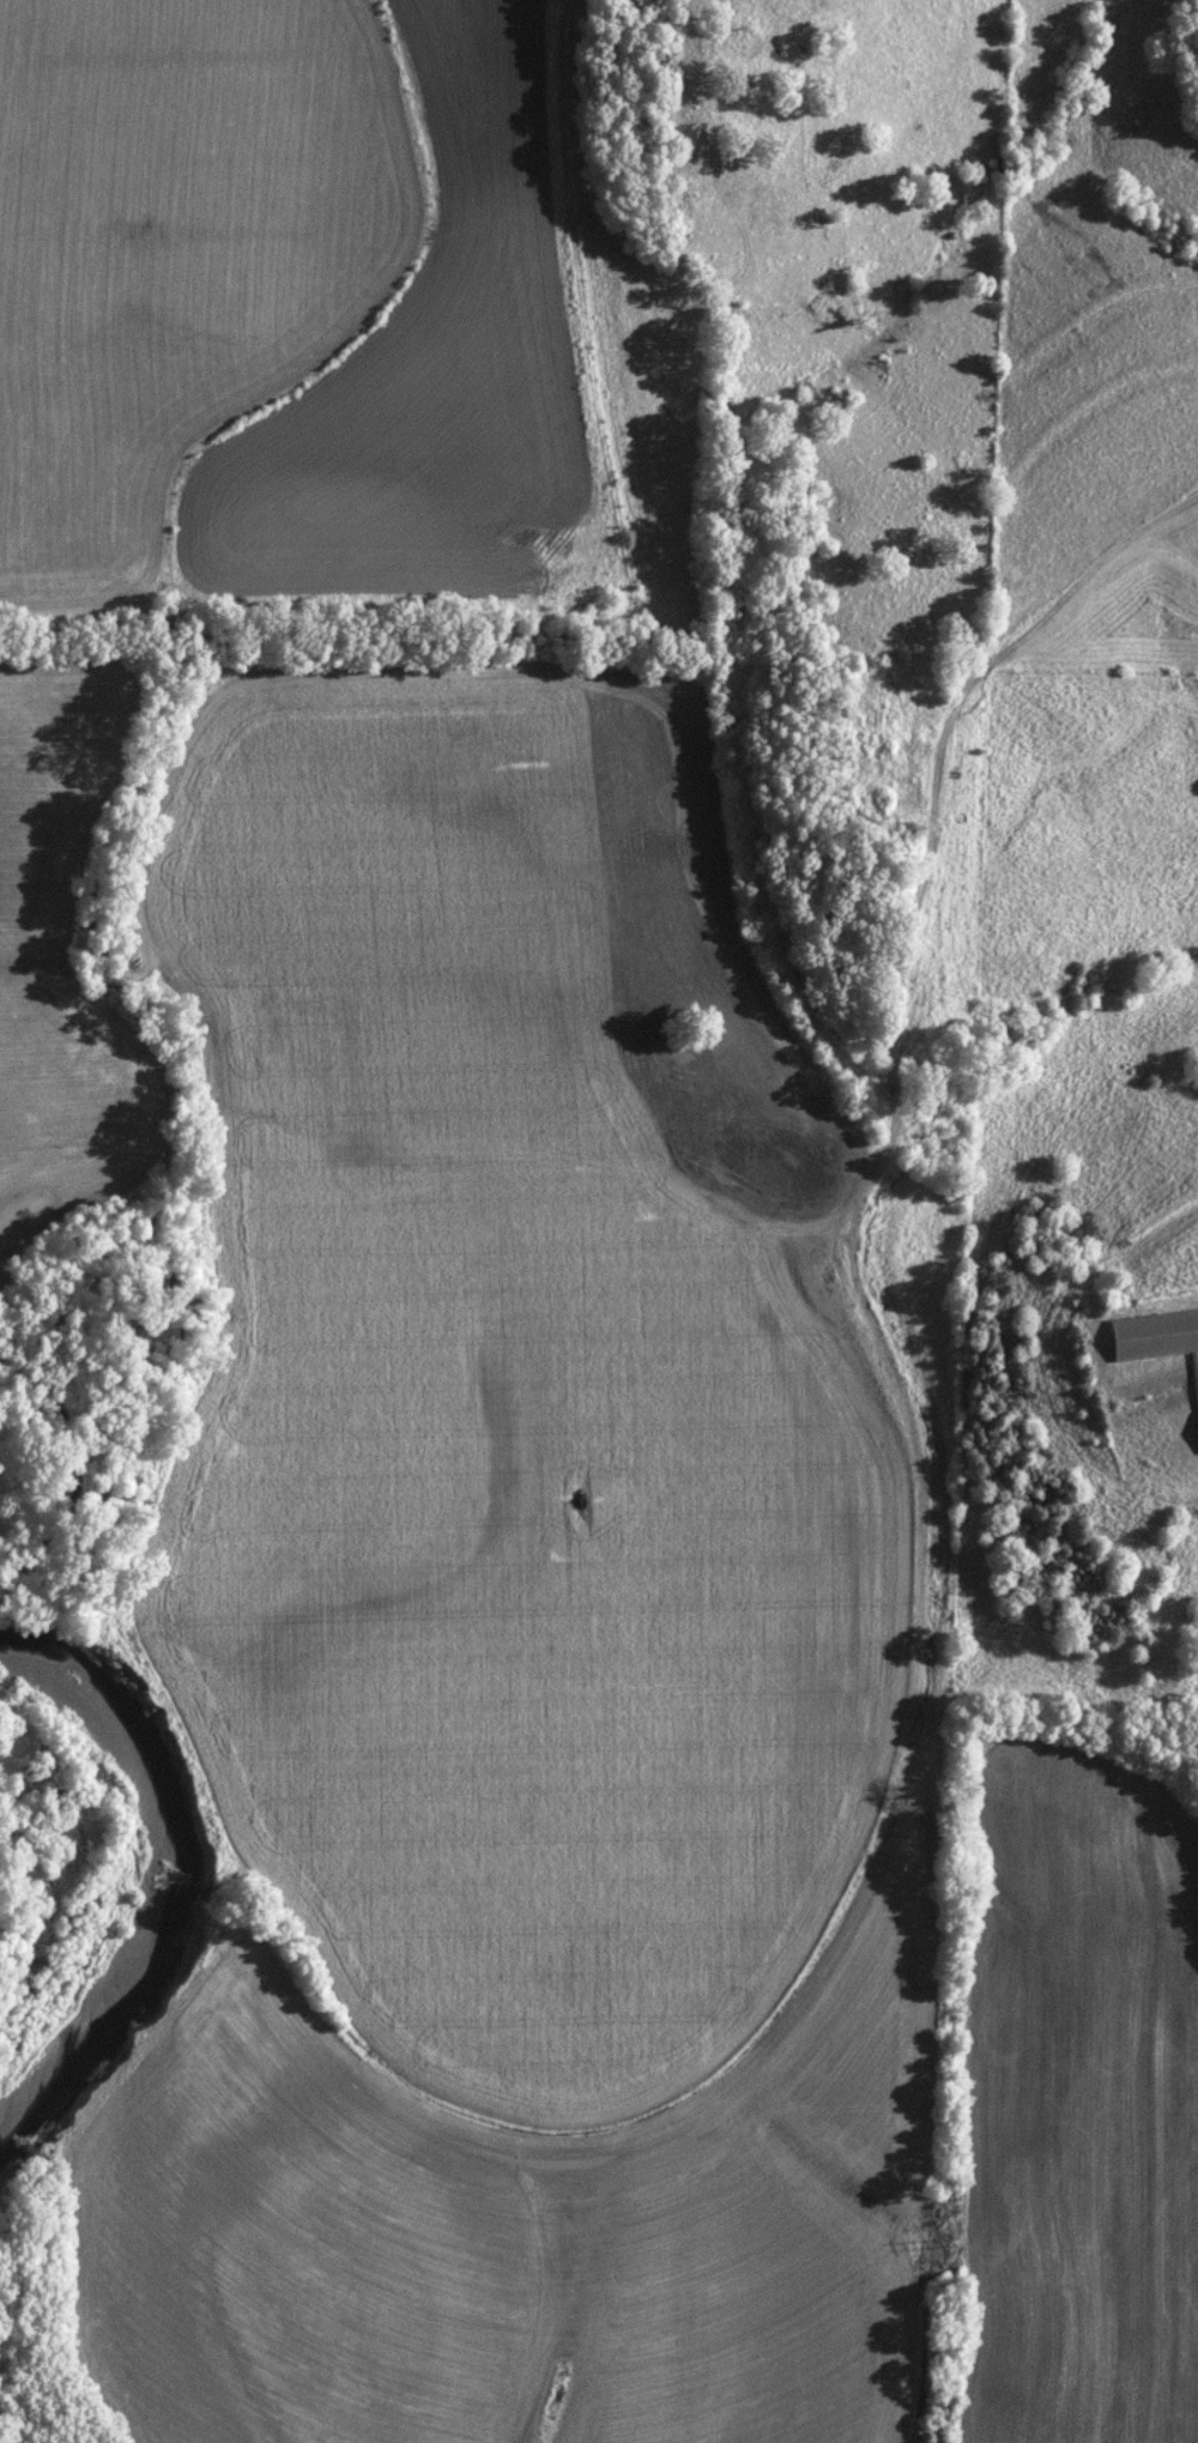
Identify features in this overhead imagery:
crop: (327, 320)
crop: (63, 942)
building: (1155, 1336)
crop: (521, 1621)
river: (153, 1877)

